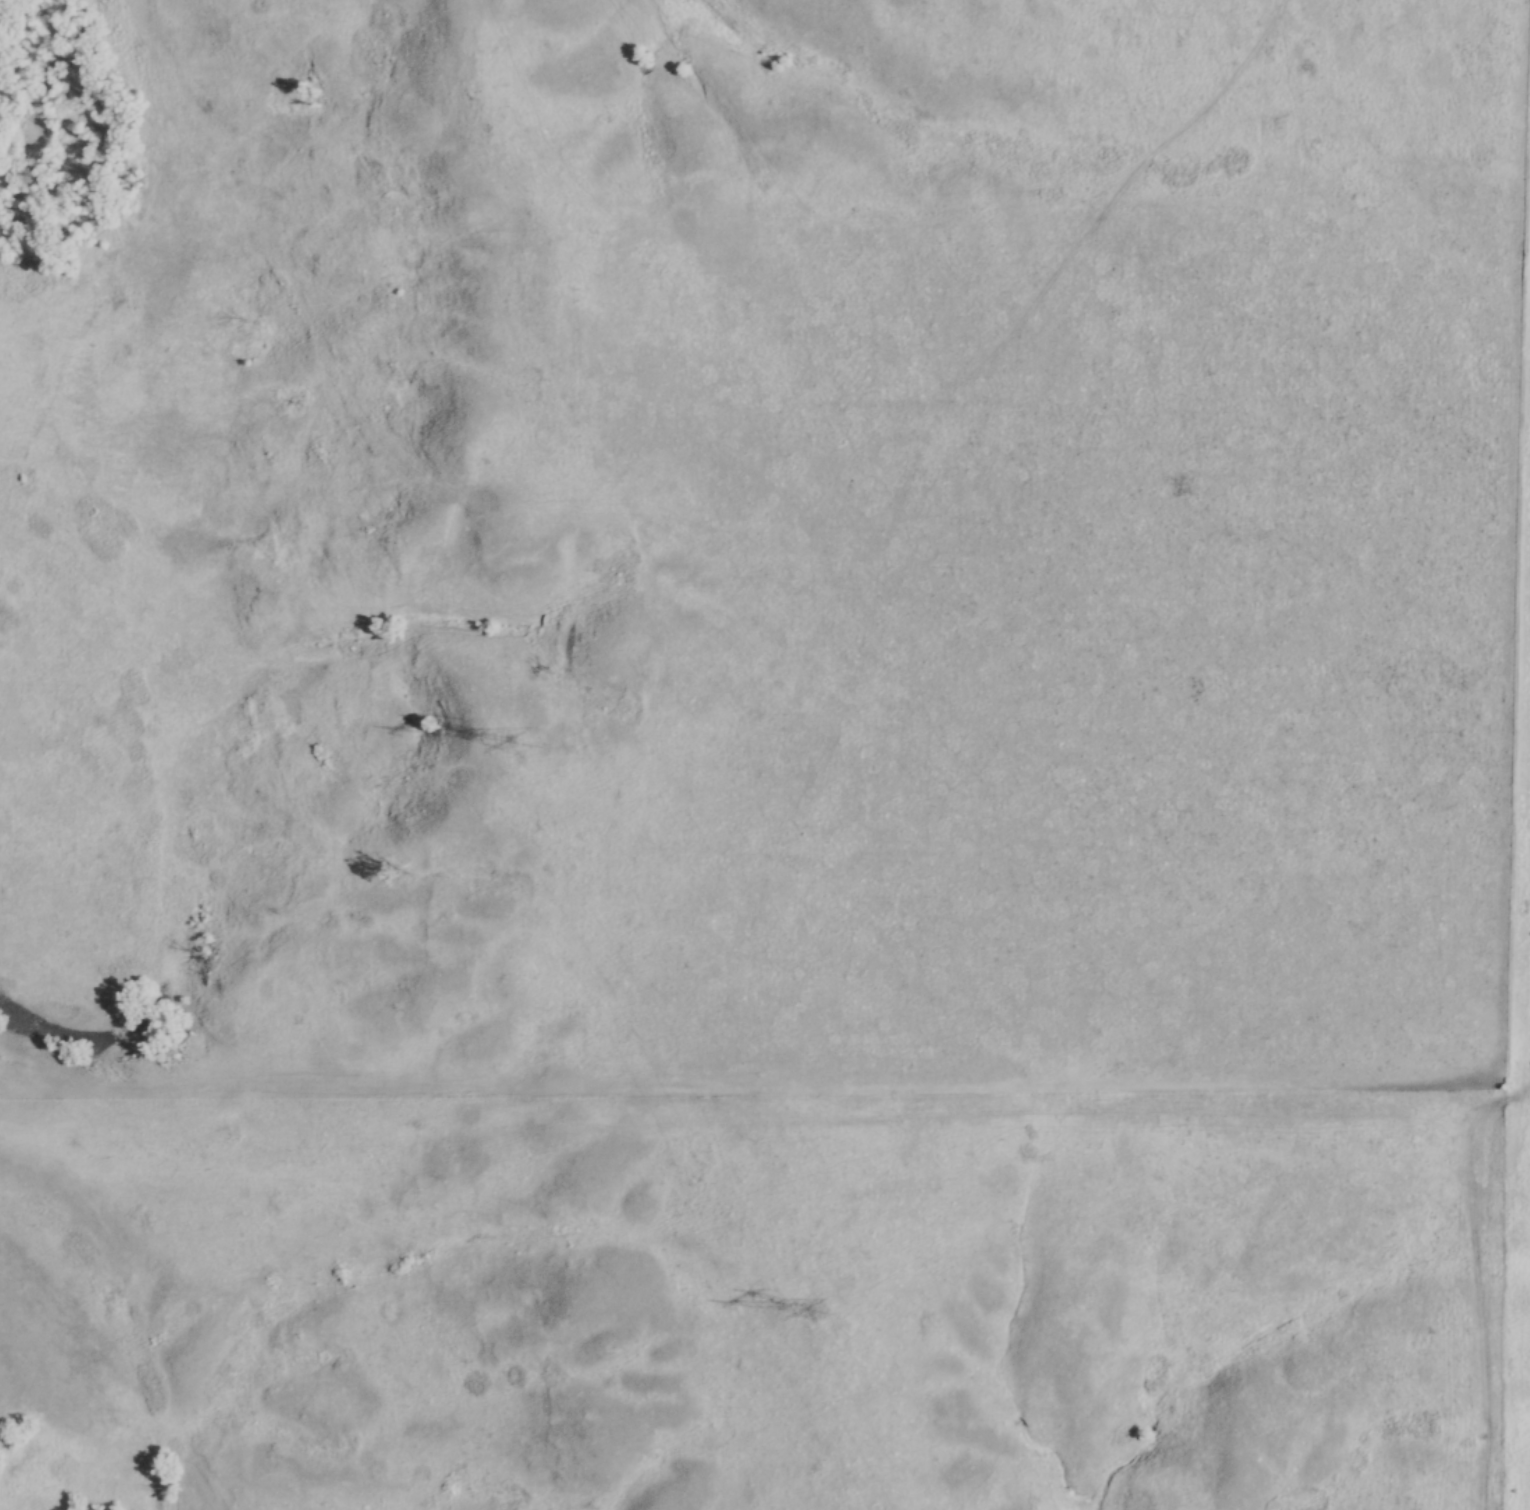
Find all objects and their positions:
power tower: (515, 744)
power tower: (813, 1310)

